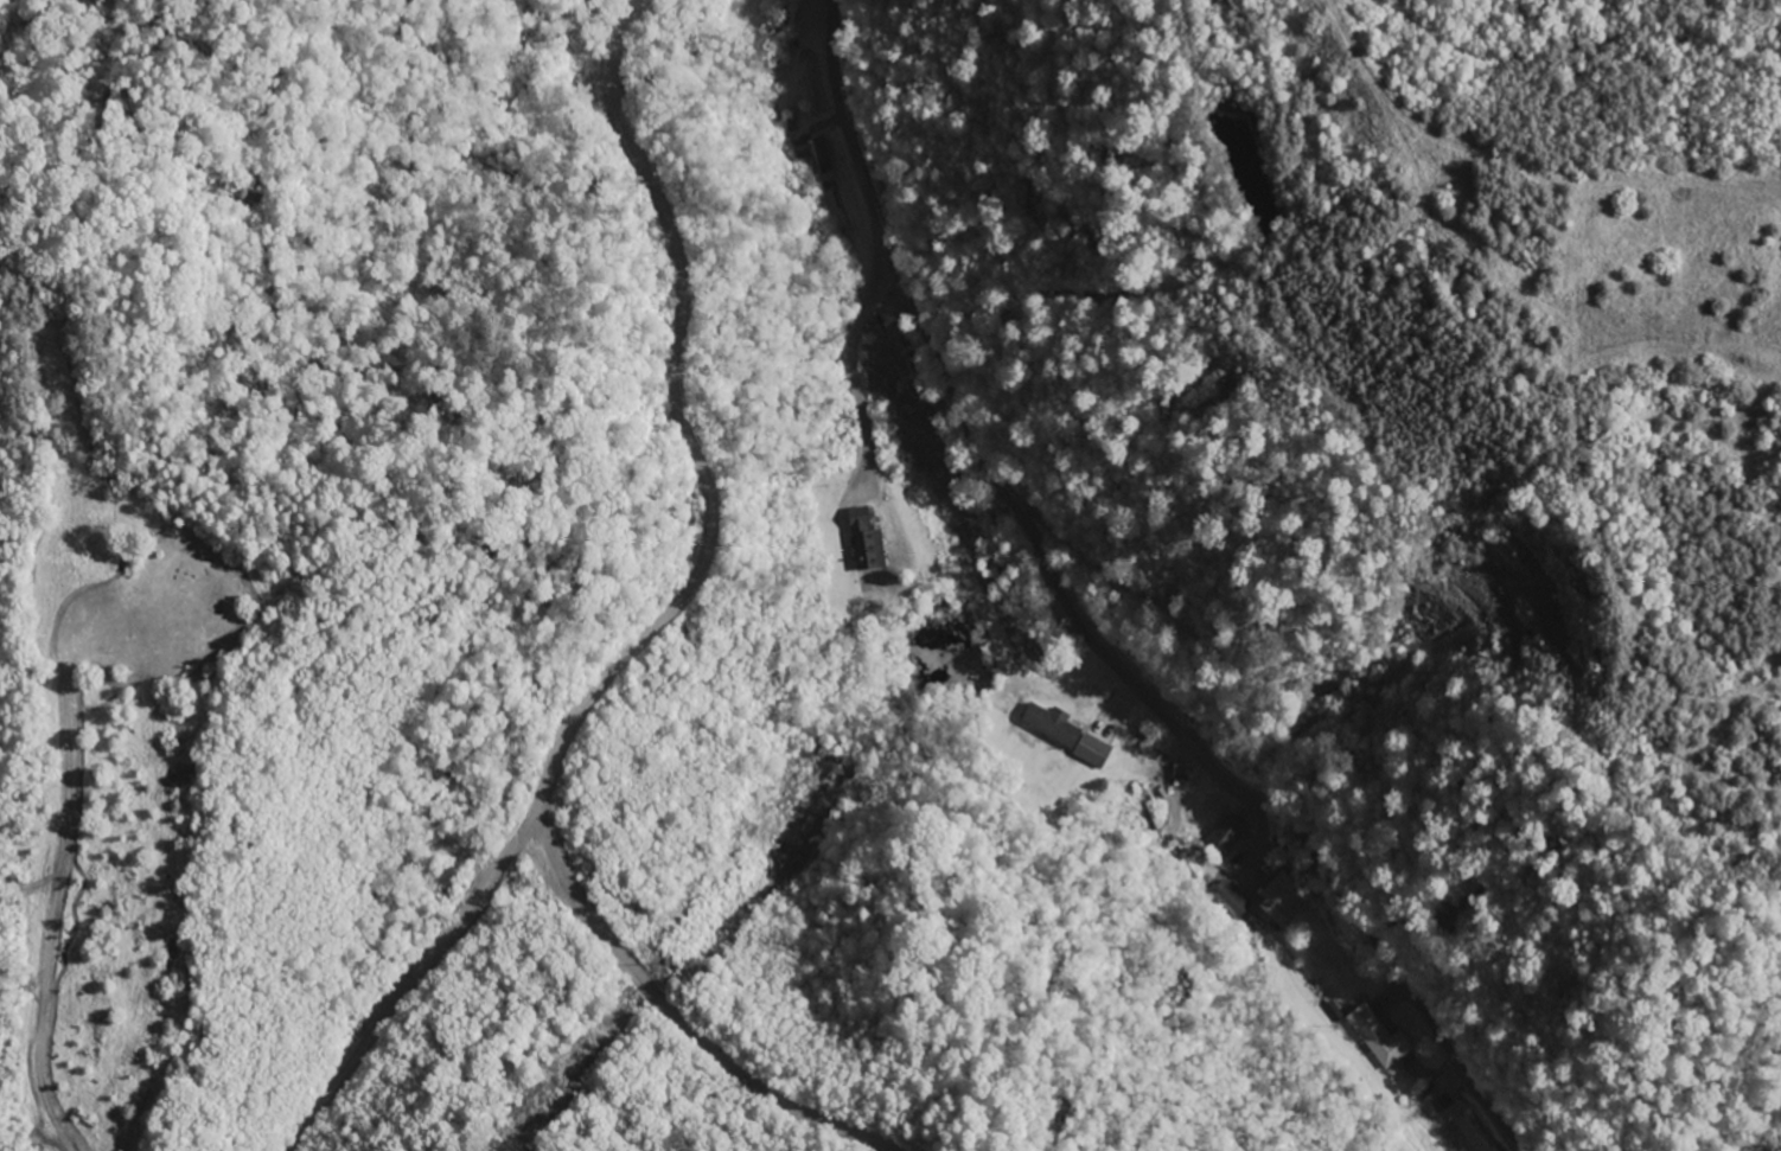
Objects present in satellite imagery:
building: (816, 155)
building: (868, 543)
building: (1068, 735)
building: (1228, 837)
building: (1282, 900)
building: (1232, 901)
building: (1383, 1040)

